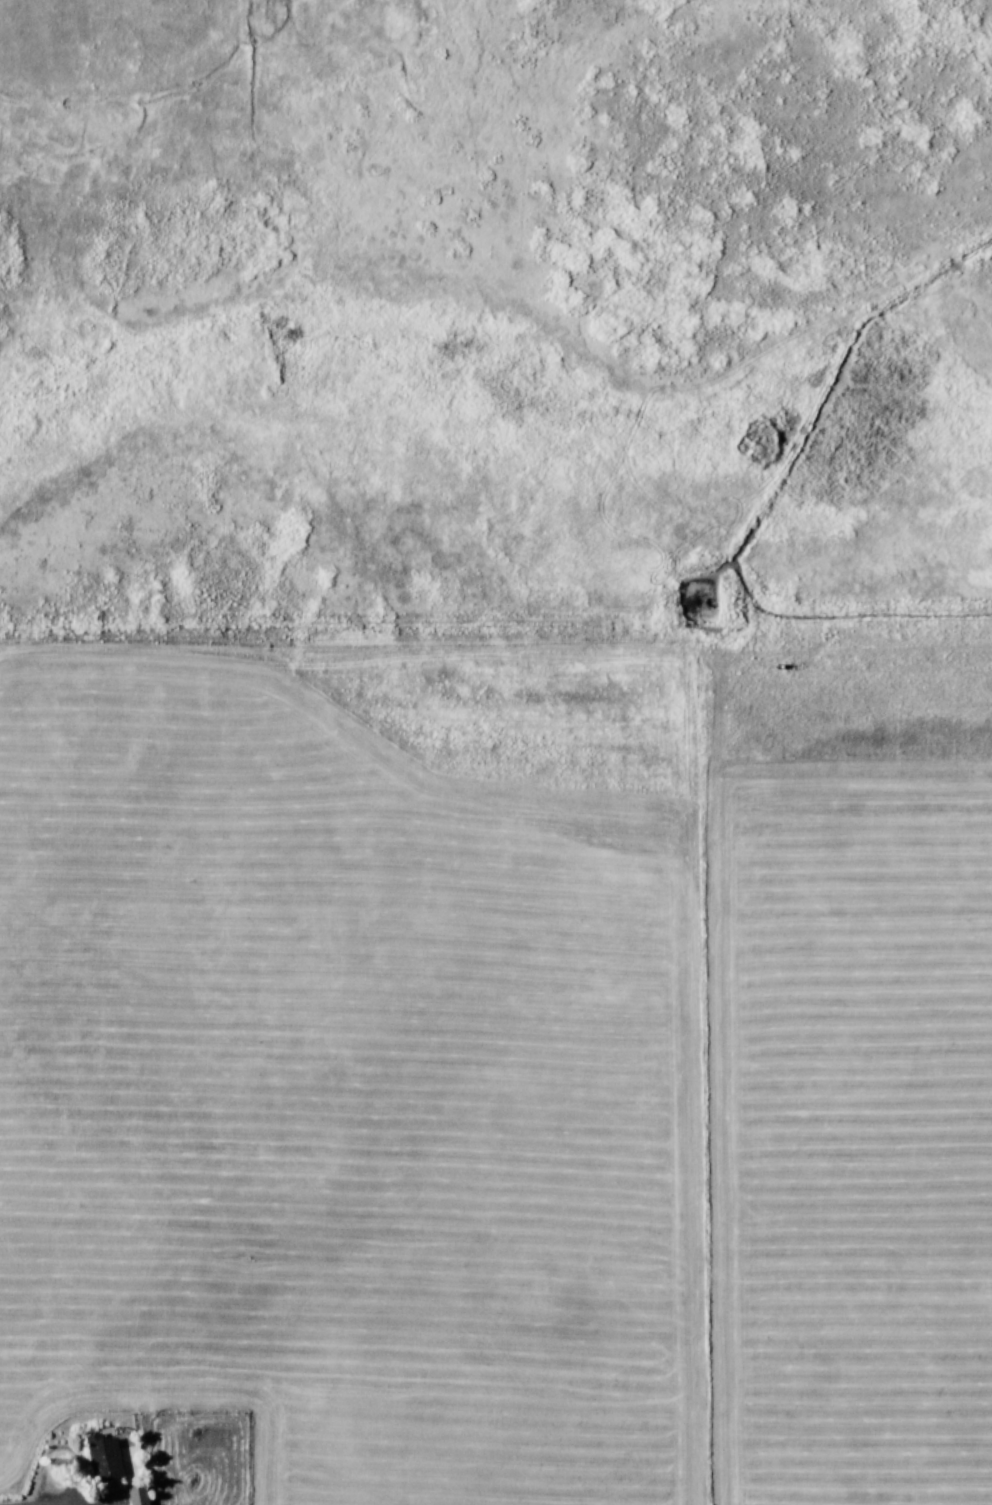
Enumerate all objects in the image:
building: (102, 1460)
building: (136, 1496)

